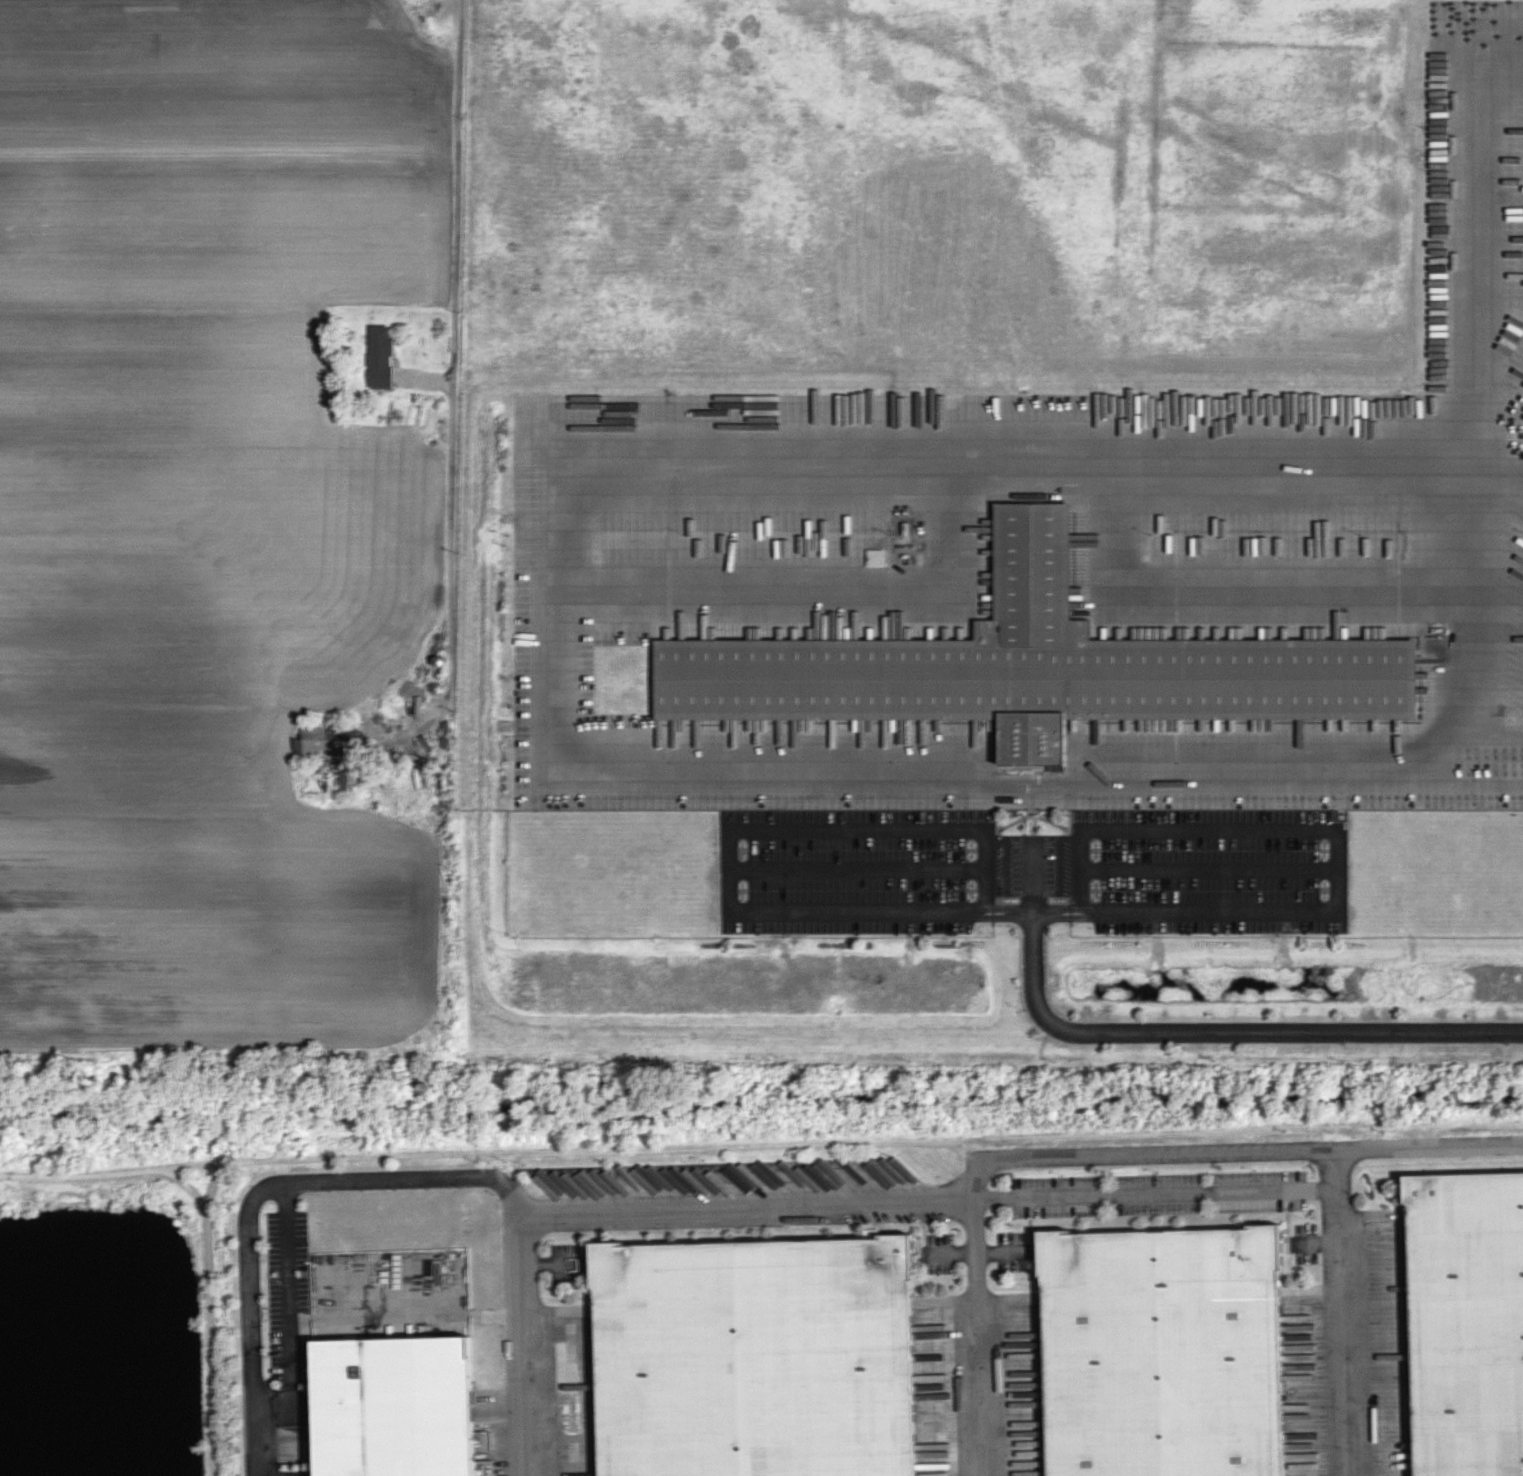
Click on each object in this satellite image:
road: (1476, 238)
building: (381, 357)
road: (455, 420)
building: (1035, 665)
road: (1497, 732)
building: (310, 738)
road: (565, 776)
building: (351, 780)
road: (1476, 784)
road: (1337, 851)
road: (731, 854)
road: (1193, 1028)
road: (873, 1140)
road: (193, 1165)
road: (81, 1174)
road: (213, 1184)
road: (1154, 1194)
road: (749, 1208)
road: (289, 1310)
road: (207, 1311)
road: (1343, 1311)
building: (1467, 1323)
road: (972, 1331)
road: (514, 1334)
building: (1164, 1352)
building: (756, 1358)
building: (395, 1406)

